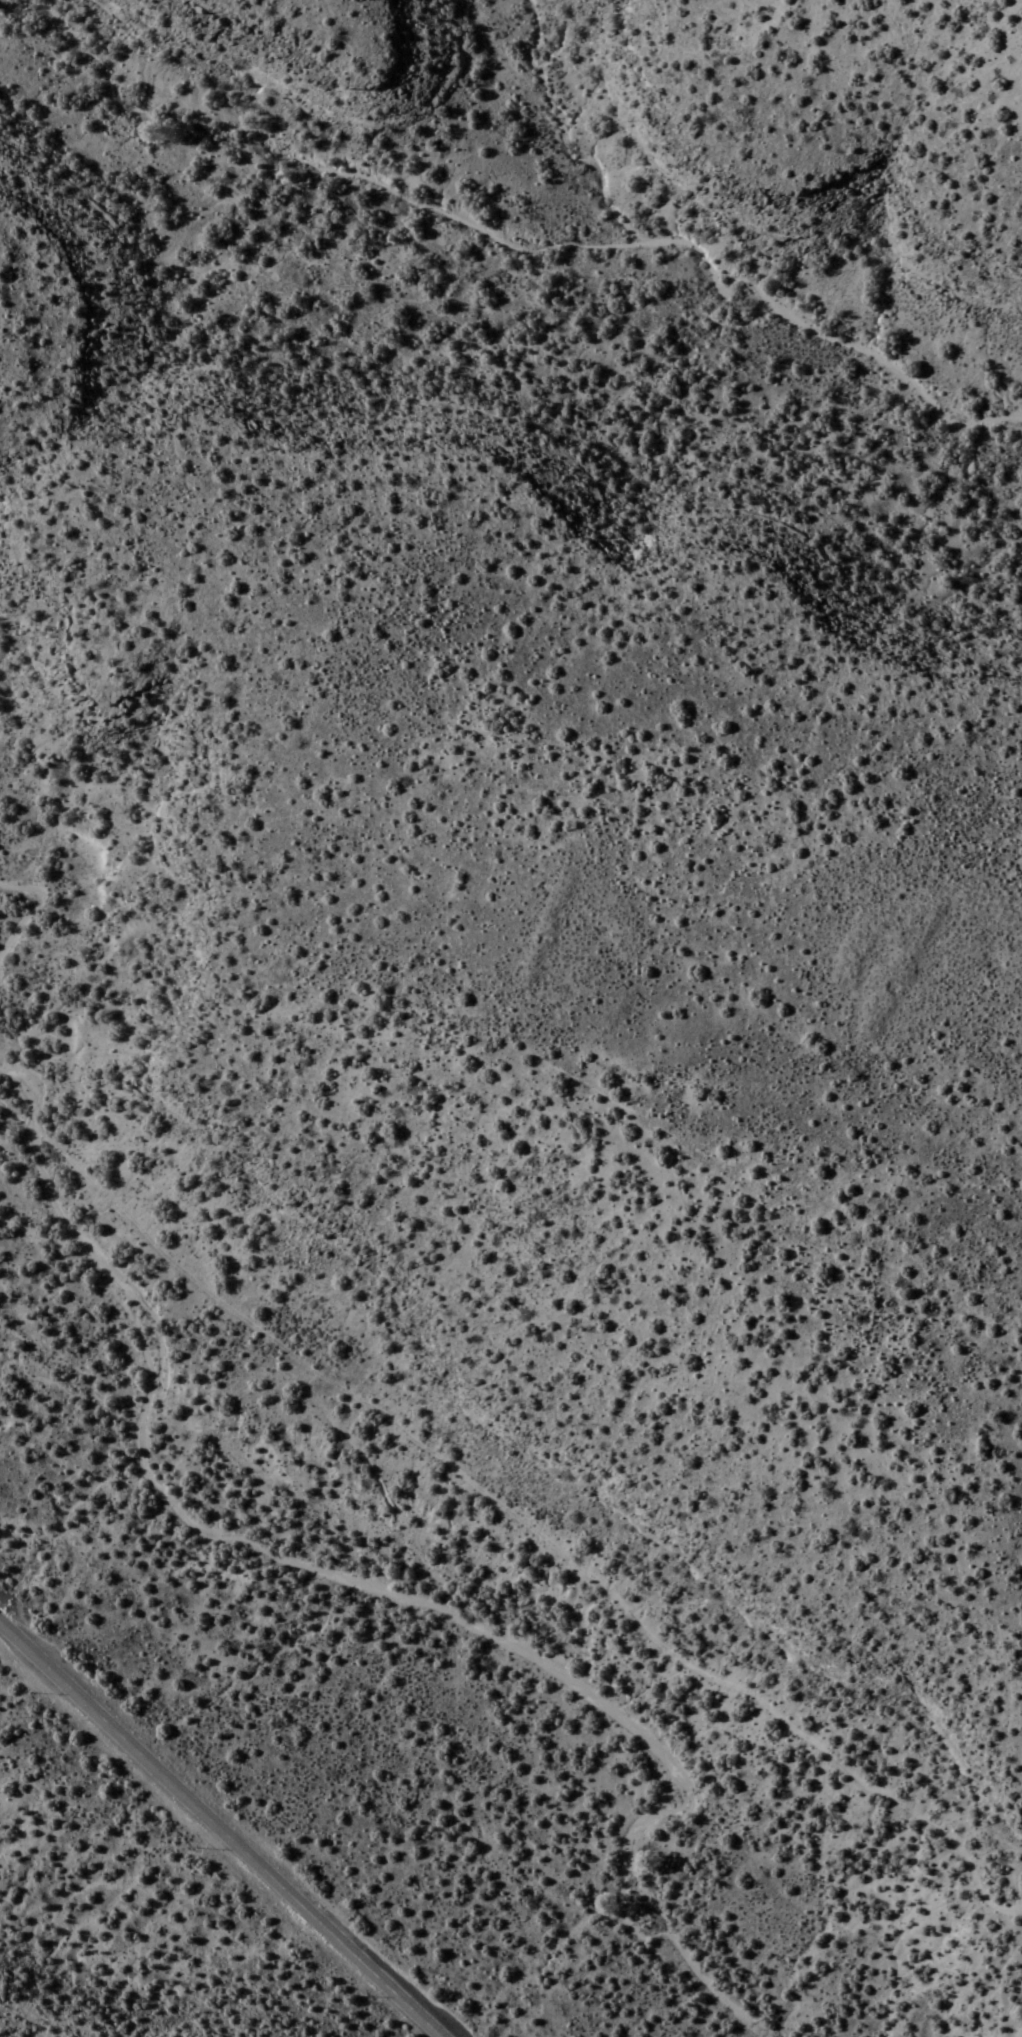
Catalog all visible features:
road: (220, 1829)

